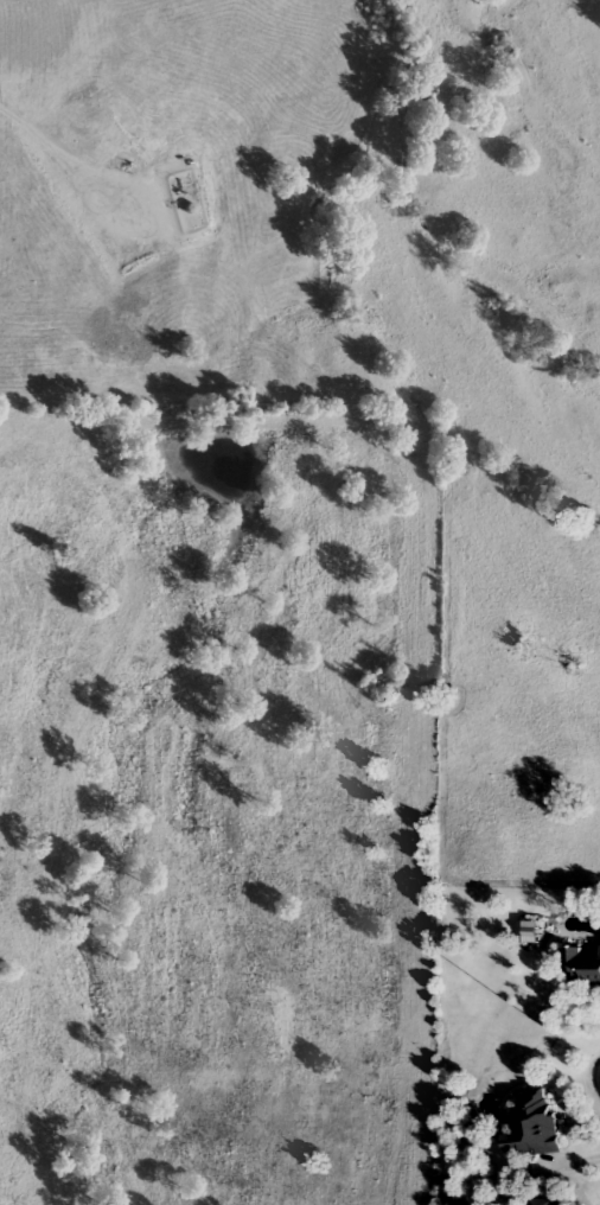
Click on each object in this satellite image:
road: (71, 155)
road: (104, 442)
building: (583, 968)
building: (540, 1124)
building: (549, 1203)

